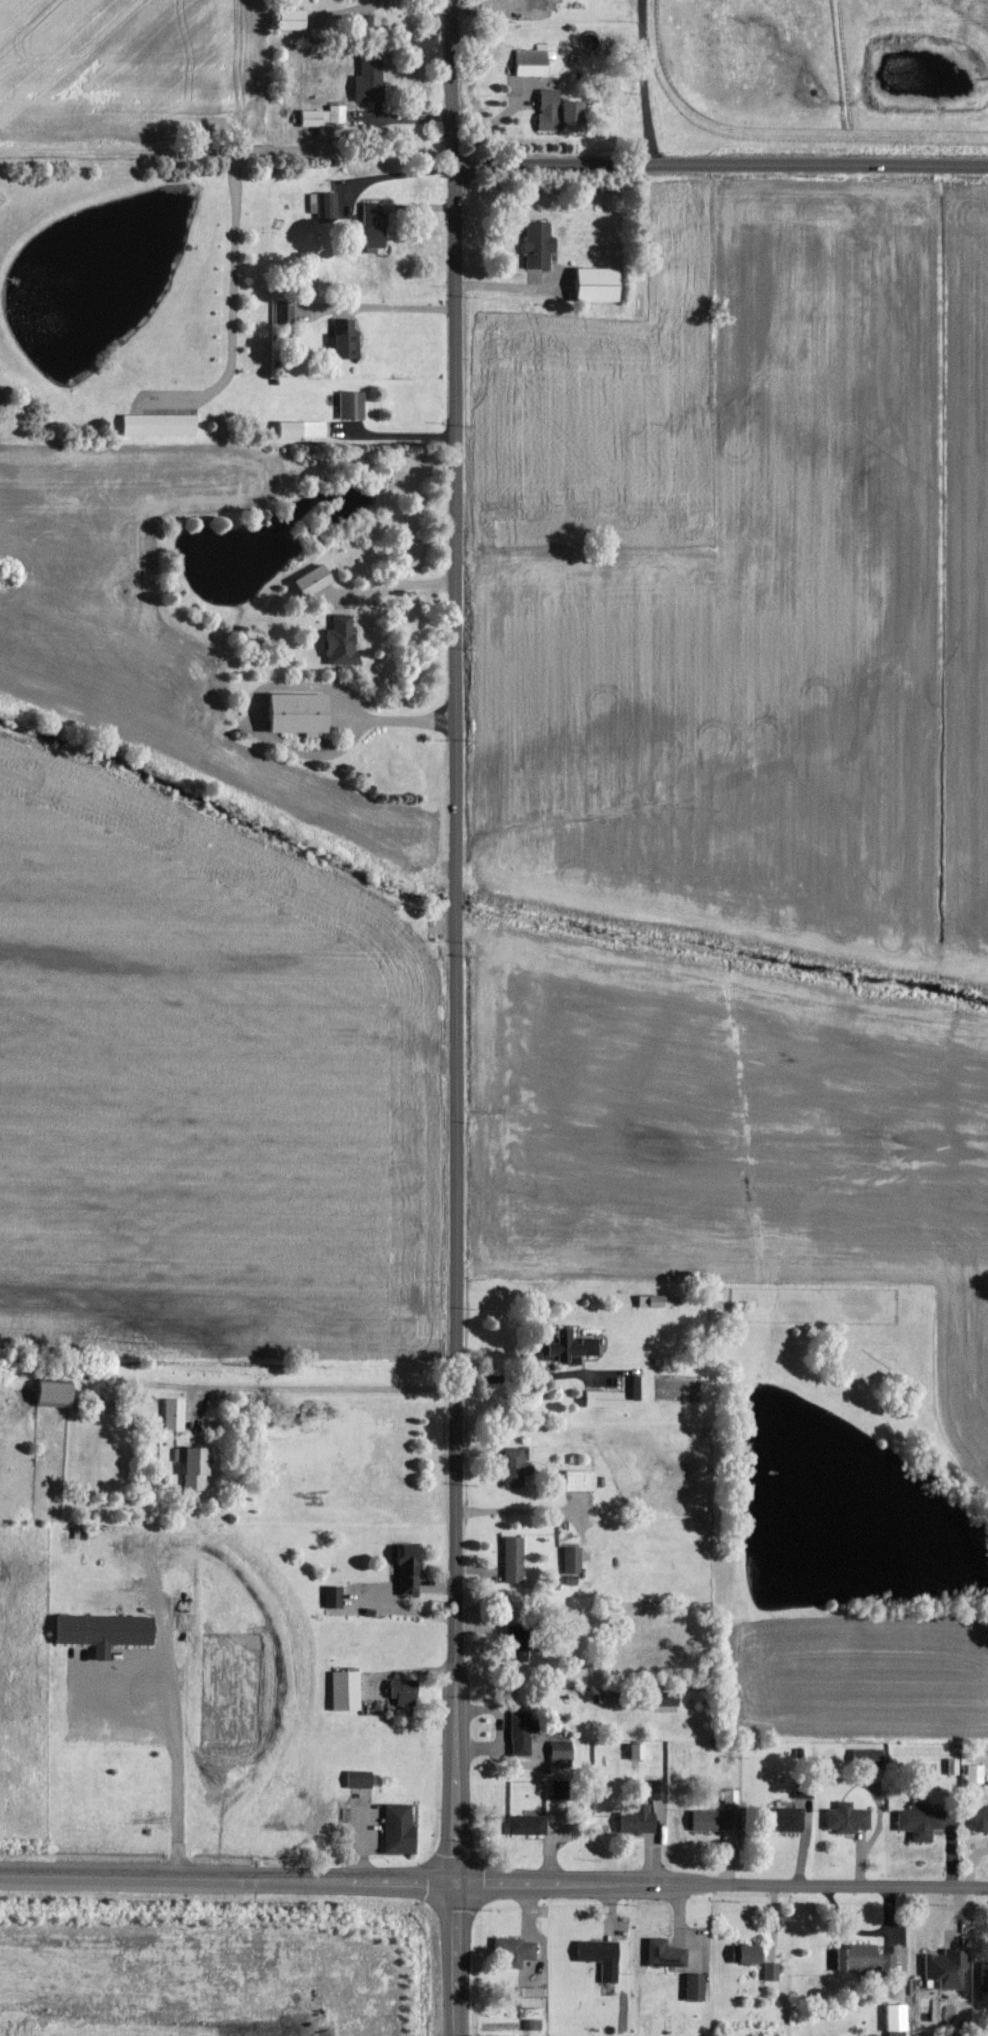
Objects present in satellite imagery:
building: (539, 5)
building: (296, 20)
building: (537, 61)
building: (374, 77)
road: (641, 82)
building: (564, 112)
building: (327, 116)
road: (722, 164)
road: (234, 195)
building: (329, 205)
building: (377, 224)
building: (542, 243)
building: (602, 284)
building: (287, 311)
road: (394, 313)
building: (349, 338)
building: (355, 404)
building: (163, 424)
building: (305, 428)
road: (401, 442)
building: (317, 580)
building: (345, 640)
building: (303, 713)
road: (453, 1018)
building: (570, 1348)
road: (536, 1381)
building: (642, 1388)
road: (275, 1392)
building: (59, 1395)
building: (608, 1399)
building: (177, 1414)
building: (197, 1466)
building: (518, 1468)
building: (584, 1480)
road: (523, 1516)
building: (517, 1559)
building: (575, 1559)
building: (413, 1568)
building: (336, 1596)
building: (108, 1631)
building: (349, 1689)
building: (408, 1691)
building: (611, 1698)
building: (667, 1702)
building: (525, 1732)
road: (171, 1741)
building: (641, 1750)
building: (564, 1754)
building: (871, 1757)
building: (978, 1773)
building: (362, 1779)
building: (806, 1788)
building: (564, 1789)
building: (661, 1789)
building: (982, 1817)
building: (789, 1818)
building: (852, 1818)
building: (641, 1819)
building: (713, 1819)
building: (923, 1821)
building: (531, 1824)
building: (403, 1829)
road: (493, 1880)
building: (516, 1952)
building: (669, 1953)
building: (750, 1953)
building: (604, 1957)
building: (869, 1959)
building: (951, 1967)
building: (774, 1971)
building: (986, 1980)
building: (698, 1986)
building: (535, 1996)
building: (900, 2017)

